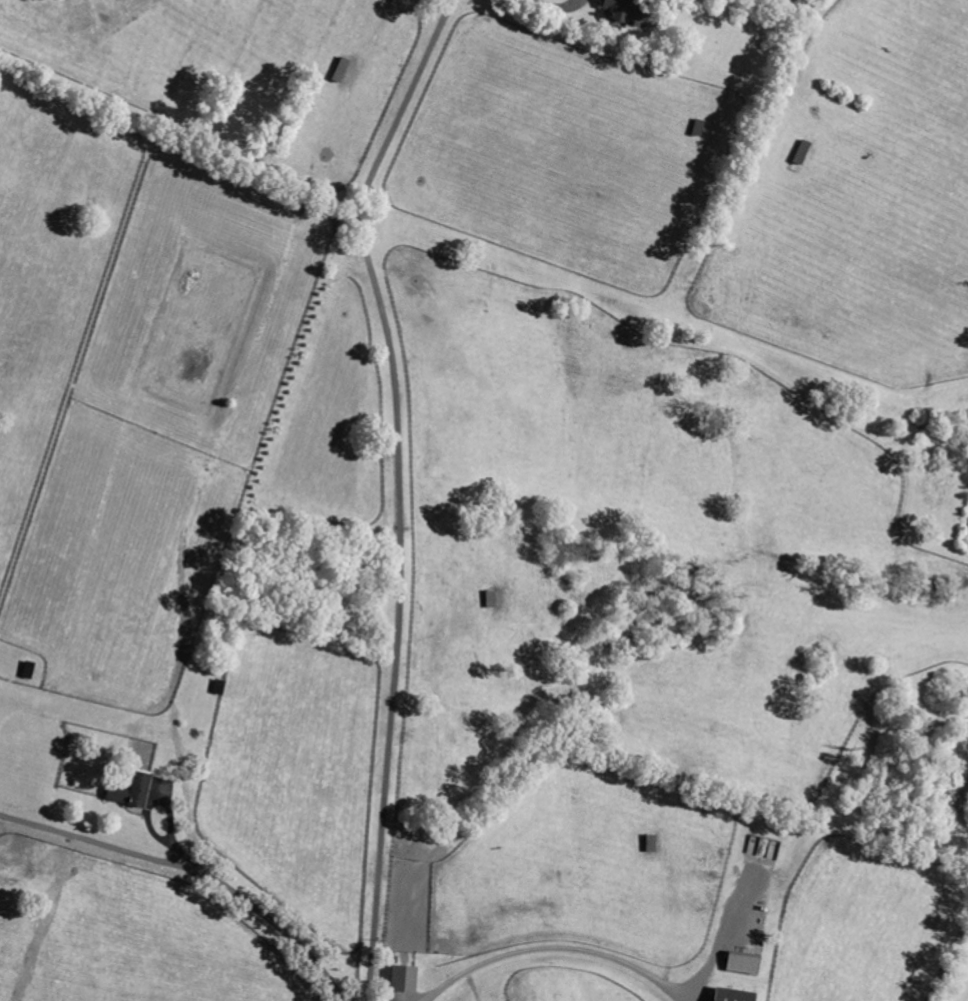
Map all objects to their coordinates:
road: (553, 6)
building: (613, 9)
building: (338, 70)
road: (399, 489)
building: (127, 791)
road: (193, 870)
road: (550, 949)
building: (740, 963)
building: (399, 980)
building: (728, 995)

